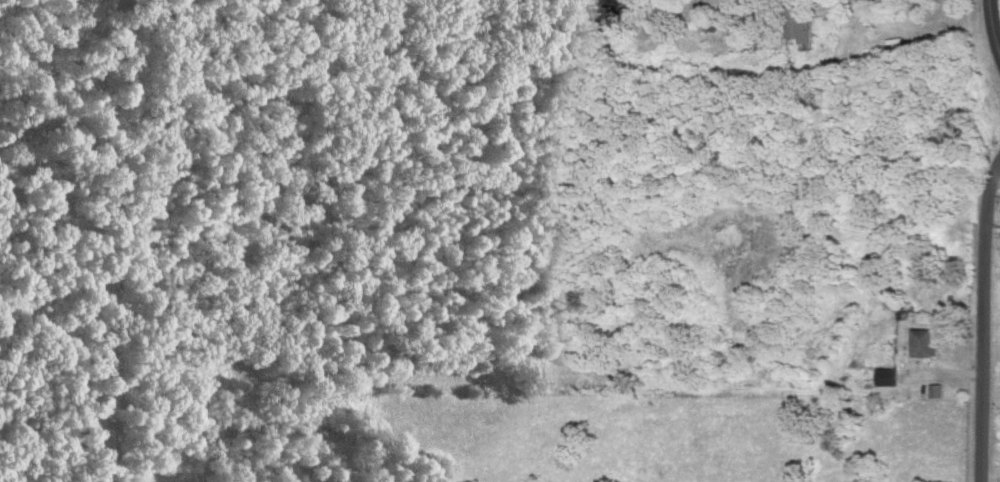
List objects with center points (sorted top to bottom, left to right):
building: (794, 28)
road: (991, 30)
road: (980, 315)
building: (920, 345)
building: (883, 378)

